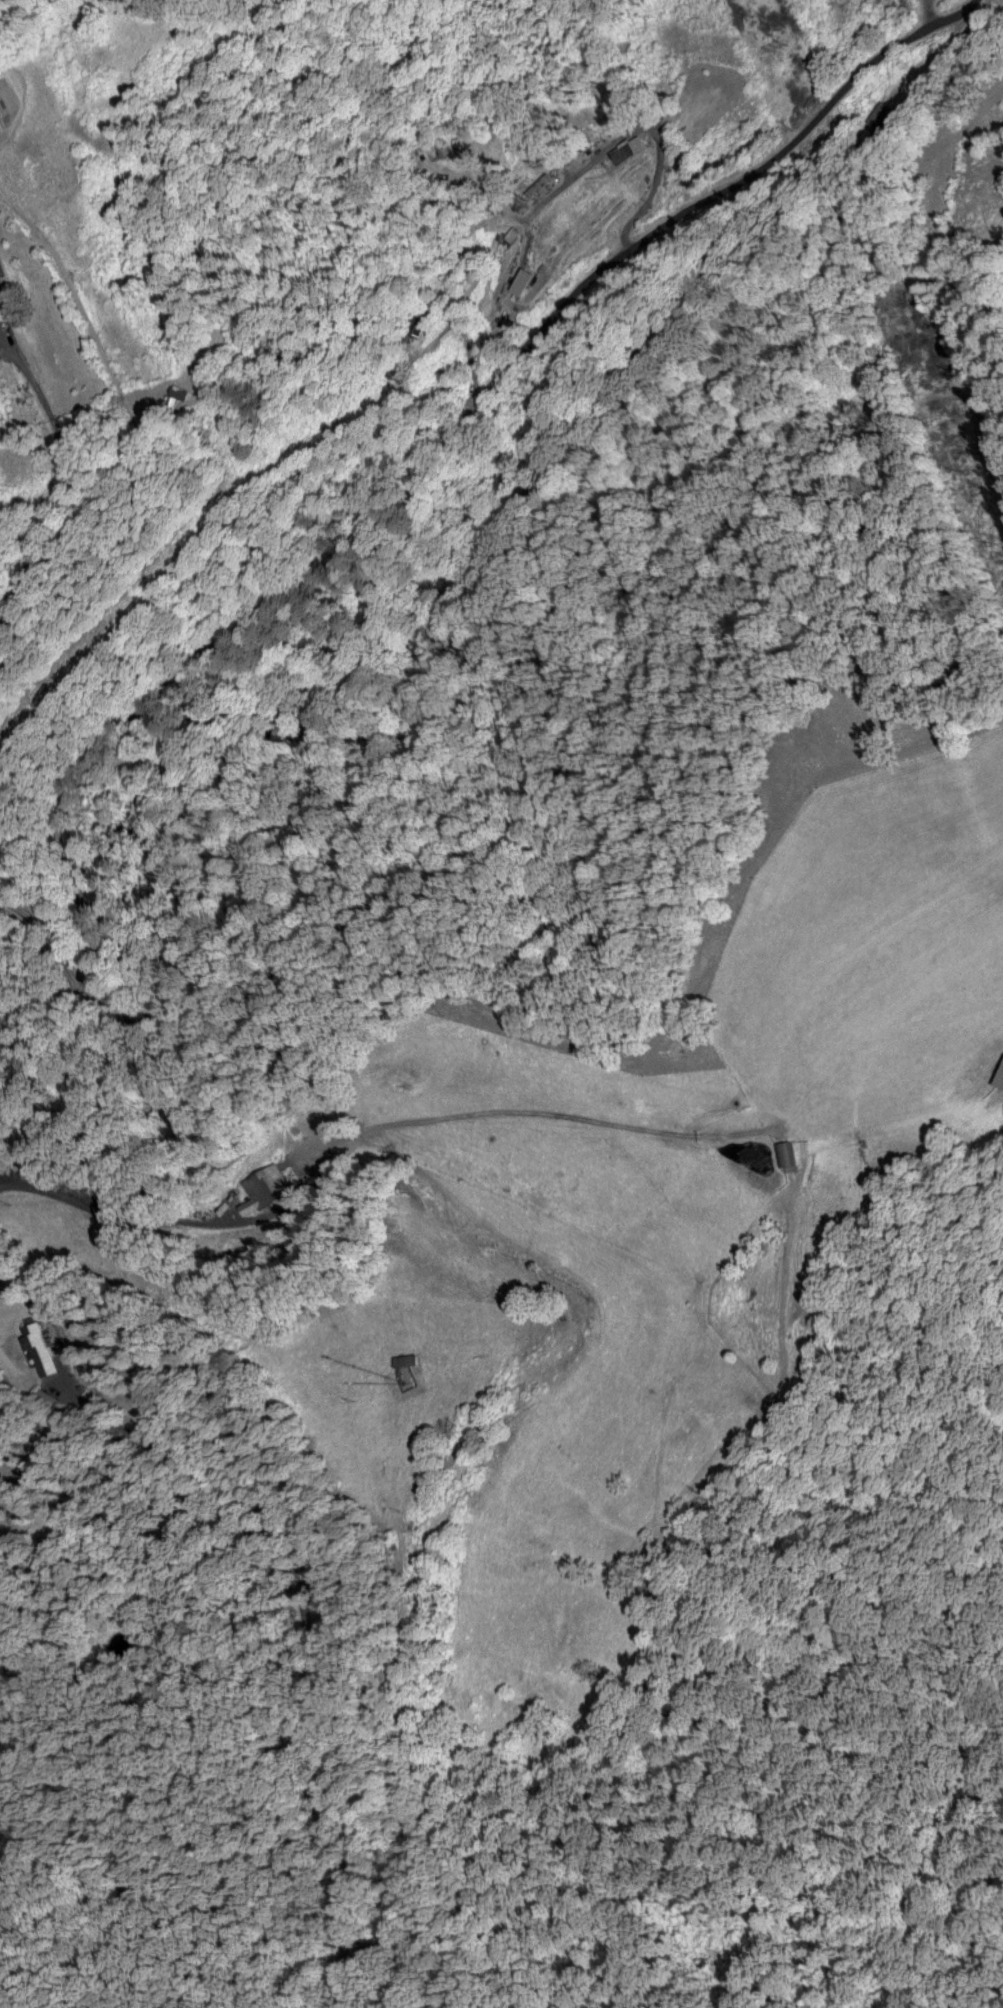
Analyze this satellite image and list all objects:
power tower: (785, 41)
building: (424, 317)
building: (2, 331)
road: (58, 488)
road: (386, 510)
building: (1001, 1080)
building: (787, 1152)
building: (269, 1186)
building: (109, 1201)
road: (174, 1219)
building: (44, 1347)
road: (298, 1623)

